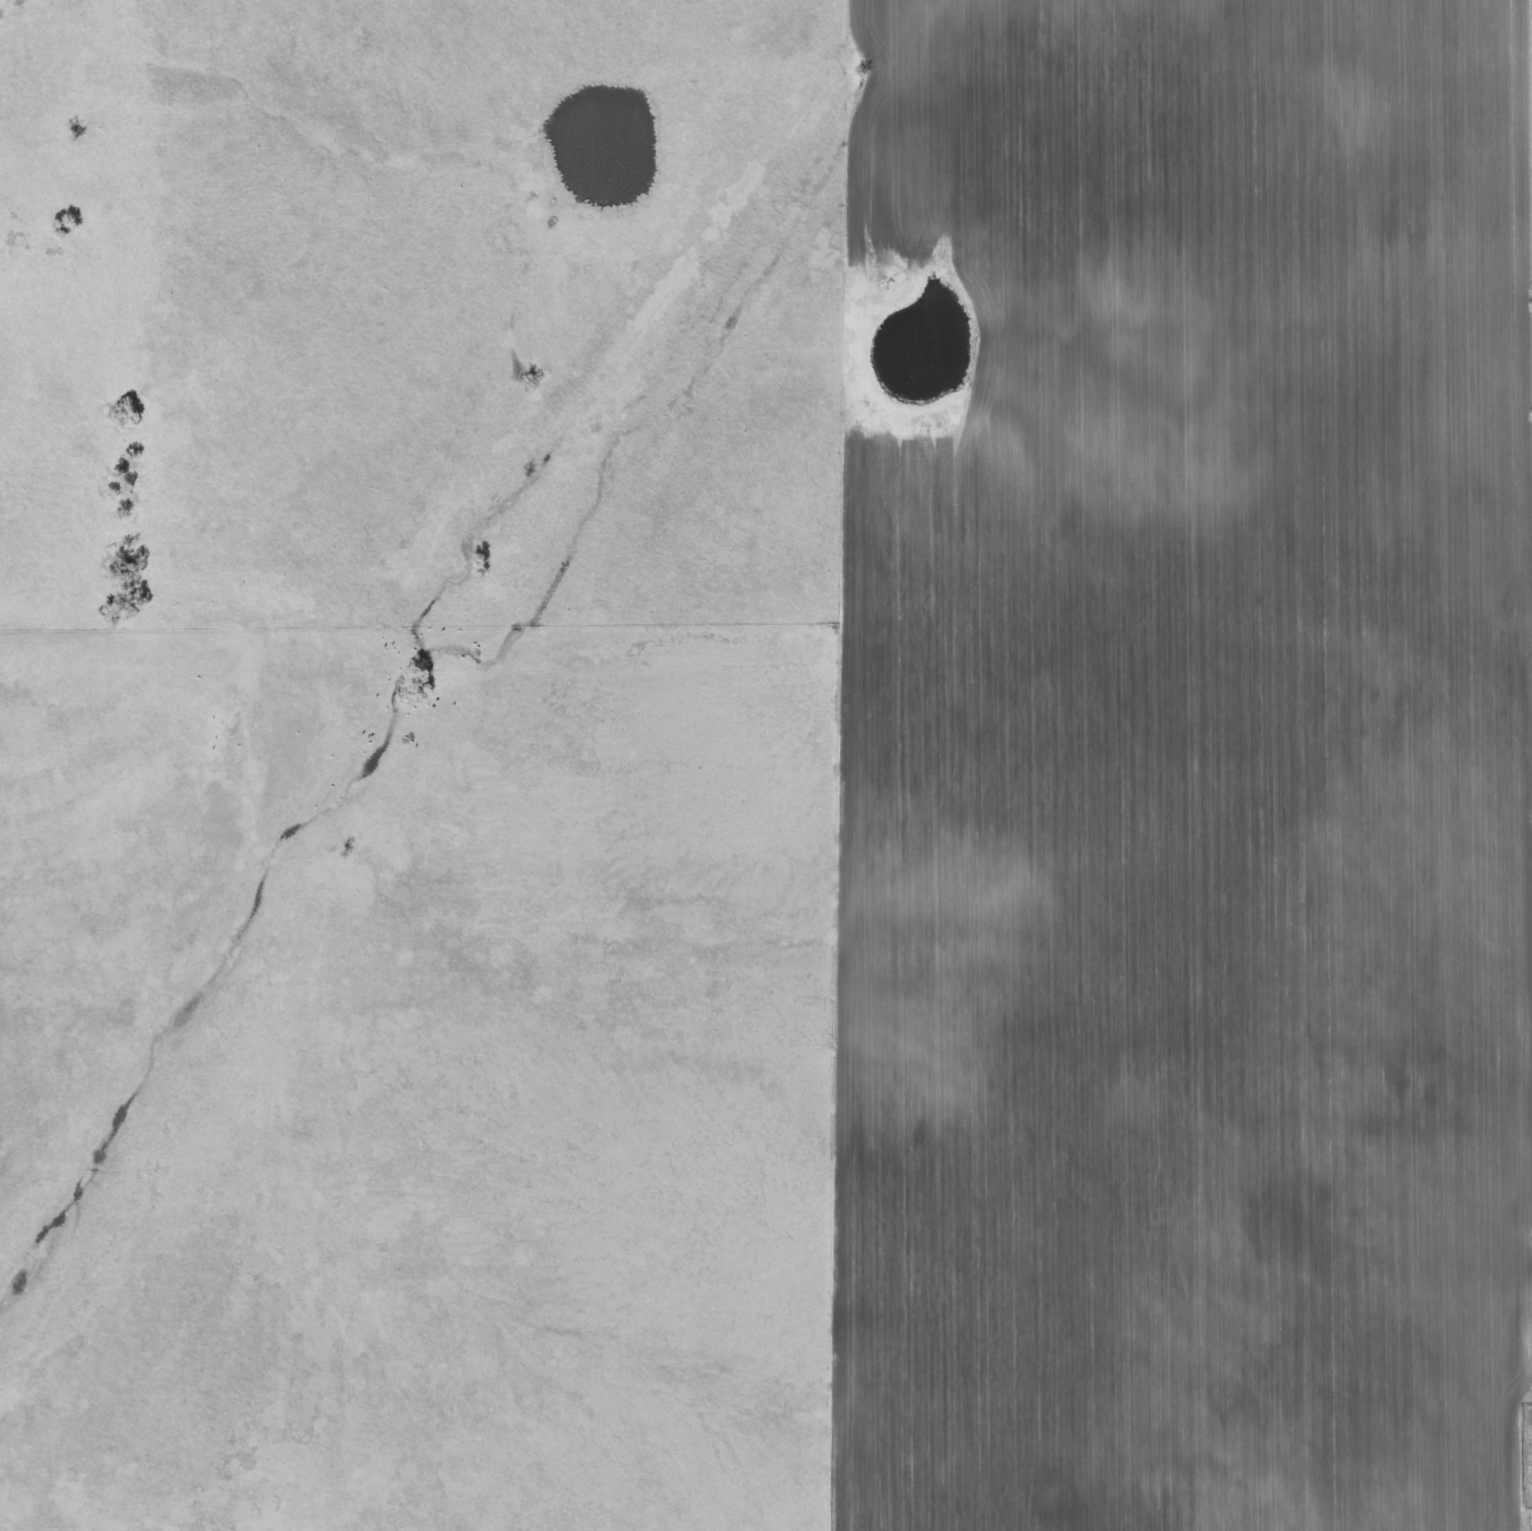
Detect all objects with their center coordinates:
building: (1530, 1456)

